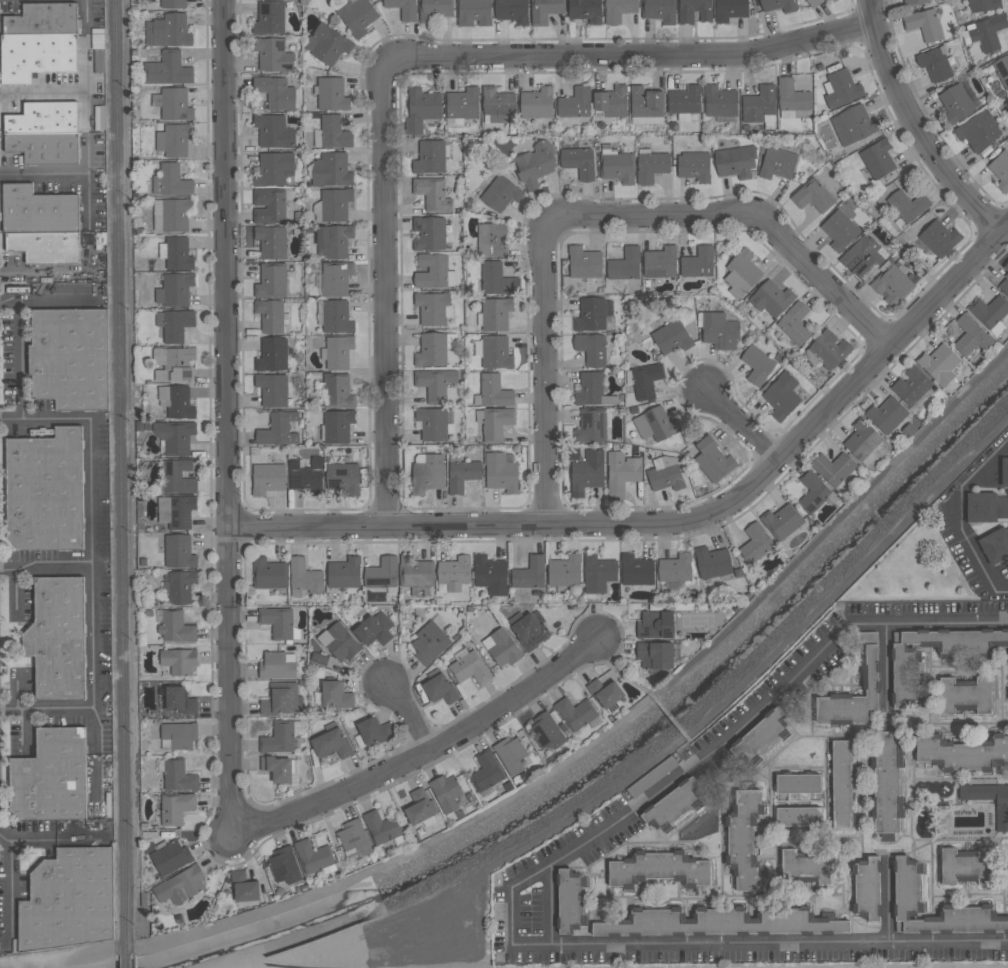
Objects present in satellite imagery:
building: (833, 1)
building: (914, 1)
building: (172, 3)
building: (814, 3)
building: (778, 5)
building: (984, 5)
building: (403, 9)
building: (434, 9)
building: (585, 10)
building: (618, 10)
building: (730, 10)
building: (545, 11)
building: (659, 11)
building: (473, 12)
building: (512, 12)
road: (86, 14)
building: (357, 16)
building: (685, 16)
building: (269, 18)
building: (42, 20)
building: (924, 25)
building: (168, 31)
building: (988, 31)
building: (329, 44)
building: (36, 55)
building: (272, 55)
road: (631, 57)
building: (935, 64)
building: (1002, 69)
building: (167, 70)
building: (841, 89)
building: (275, 92)
road: (44, 94)
building: (331, 94)
building: (792, 96)
building: (684, 100)
building: (497, 102)
building: (611, 102)
building: (646, 102)
building: (719, 102)
building: (462, 103)
building: (537, 103)
building: (575, 103)
building: (172, 104)
building: (759, 104)
building: (956, 104)
building: (421, 109)
building: (44, 119)
building: (853, 124)
road: (88, 126)
road: (912, 128)
building: (273, 131)
building: (978, 131)
building: (334, 132)
building: (177, 140)
building: (44, 148)
building: (430, 157)
building: (877, 158)
building: (735, 161)
building: (578, 162)
building: (777, 163)
building: (535, 164)
building: (651, 167)
building: (694, 167)
building: (617, 168)
building: (274, 169)
building: (331, 170)
building: (1000, 170)
road: (44, 176)
building: (170, 181)
building: (501, 193)
building: (432, 195)
building: (812, 196)
building: (335, 204)
building: (907, 205)
building: (269, 206)
building: (39, 210)
building: (176, 215)
road: (746, 217)
building: (840, 230)
building: (429, 233)
building: (939, 238)
building: (491, 240)
building: (333, 241)
building: (271, 242)
building: (46, 246)
building: (177, 254)
building: (862, 258)
building: (660, 262)
building: (584, 263)
building: (698, 263)
building: (625, 265)
building: (1006, 266)
building: (431, 271)
building: (741, 274)
building: (336, 278)
building: (497, 279)
building: (272, 281)
building: (892, 285)
building: (1004, 285)
building: (175, 290)
road: (383, 297)
building: (771, 298)
road: (10, 304)
building: (432, 308)
building: (989, 311)
building: (495, 314)
building: (593, 314)
building: (270, 315)
building: (336, 317)
building: (794, 323)
building: (174, 325)
road: (20, 328)
building: (719, 331)
building: (971, 337)
building: (672, 338)
building: (591, 349)
building: (431, 350)
building: (828, 350)
building: (338, 352)
building: (496, 352)
building: (272, 355)
building: (70, 358)
building: (173, 363)
building: (939, 364)
building: (757, 365)
road: (544, 375)
building: (645, 380)
building: (434, 384)
building: (911, 386)
building: (273, 389)
building: (592, 390)
building: (337, 391)
building: (494, 392)
building: (781, 396)
building: (176, 401)
road: (226, 410)
building: (887, 415)
building: (432, 423)
building: (496, 424)
building: (659, 424)
building: (591, 425)
road: (739, 425)
building: (337, 426)
building: (278, 430)
building: (175, 436)
building: (862, 440)
building: (712, 459)
road: (984, 462)
building: (833, 468)
building: (622, 471)
building: (501, 472)
building: (1004, 472)
building: (665, 473)
building: (585, 474)
building: (462, 475)
building: (426, 476)
railway: (123, 477)
building: (177, 477)
building: (305, 477)
building: (343, 478)
building: (265, 480)
building: (45, 490)
building: (812, 493)
building: (985, 507)
building: (180, 513)
building: (780, 522)
road: (679, 526)
road: (967, 542)
building: (754, 544)
building: (995, 545)
building: (178, 553)
road: (89, 561)
building: (711, 564)
road: (45, 568)
building: (674, 570)
building: (453, 571)
building: (634, 571)
building: (563, 572)
building: (414, 573)
building: (342, 574)
building: (267, 575)
building: (381, 575)
building: (489, 575)
building: (528, 575)
building: (597, 575)
building: (303, 577)
building: (178, 588)
road: (14, 590)
road: (1002, 592)
building: (276, 623)
road: (932, 623)
building: (654, 626)
building: (174, 628)
building: (372, 630)
building: (529, 631)
building: (58, 638)
building: (339, 642)
building: (428, 643)
building: (503, 649)
building: (653, 656)
road: (886, 661)
building: (177, 662)
building: (274, 667)
building: (468, 669)
road: (615, 672)
building: (905, 676)
building: (868, 678)
building: (439, 690)
building: (604, 693)
building: (964, 695)
building: (335, 696)
building: (280, 700)
building: (178, 702)
road: (45, 709)
building: (574, 714)
road: (408, 716)
road: (673, 724)
building: (373, 732)
building: (546, 733)
building: (178, 736)
building: (278, 738)
building: (758, 738)
building: (330, 745)
road: (429, 750)
building: (962, 753)
building: (510, 756)
building: (275, 769)
building: (485, 772)
building: (651, 776)
building: (51, 777)
building: (177, 777)
building: (884, 783)
road: (669, 785)
building: (796, 785)
building: (840, 787)
building: (444, 794)
building: (671, 806)
building: (174, 808)
building: (419, 808)
building: (1001, 816)
building: (797, 818)
building: (380, 829)
road: (53, 837)
building: (352, 840)
building: (744, 842)
building: (170, 858)
building: (311, 858)
building: (966, 866)
building: (283, 867)
building: (806, 869)
building: (658, 870)
building: (180, 885)
road: (11, 887)
building: (242, 888)
building: (906, 888)
building: (865, 890)
building: (69, 900)
building: (569, 902)
road: (551, 904)
road: (889, 905)
building: (722, 924)
road: (762, 943)
railway: (128, 961)

